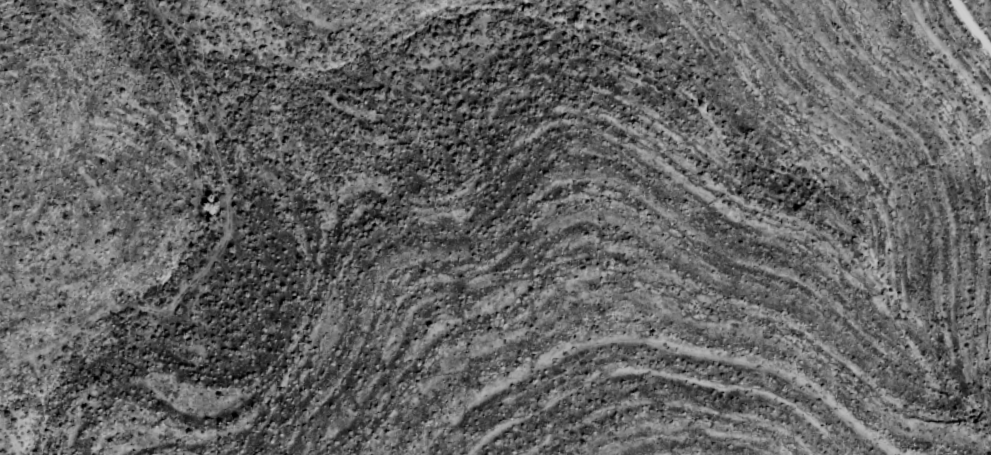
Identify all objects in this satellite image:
road: (960, 49)

